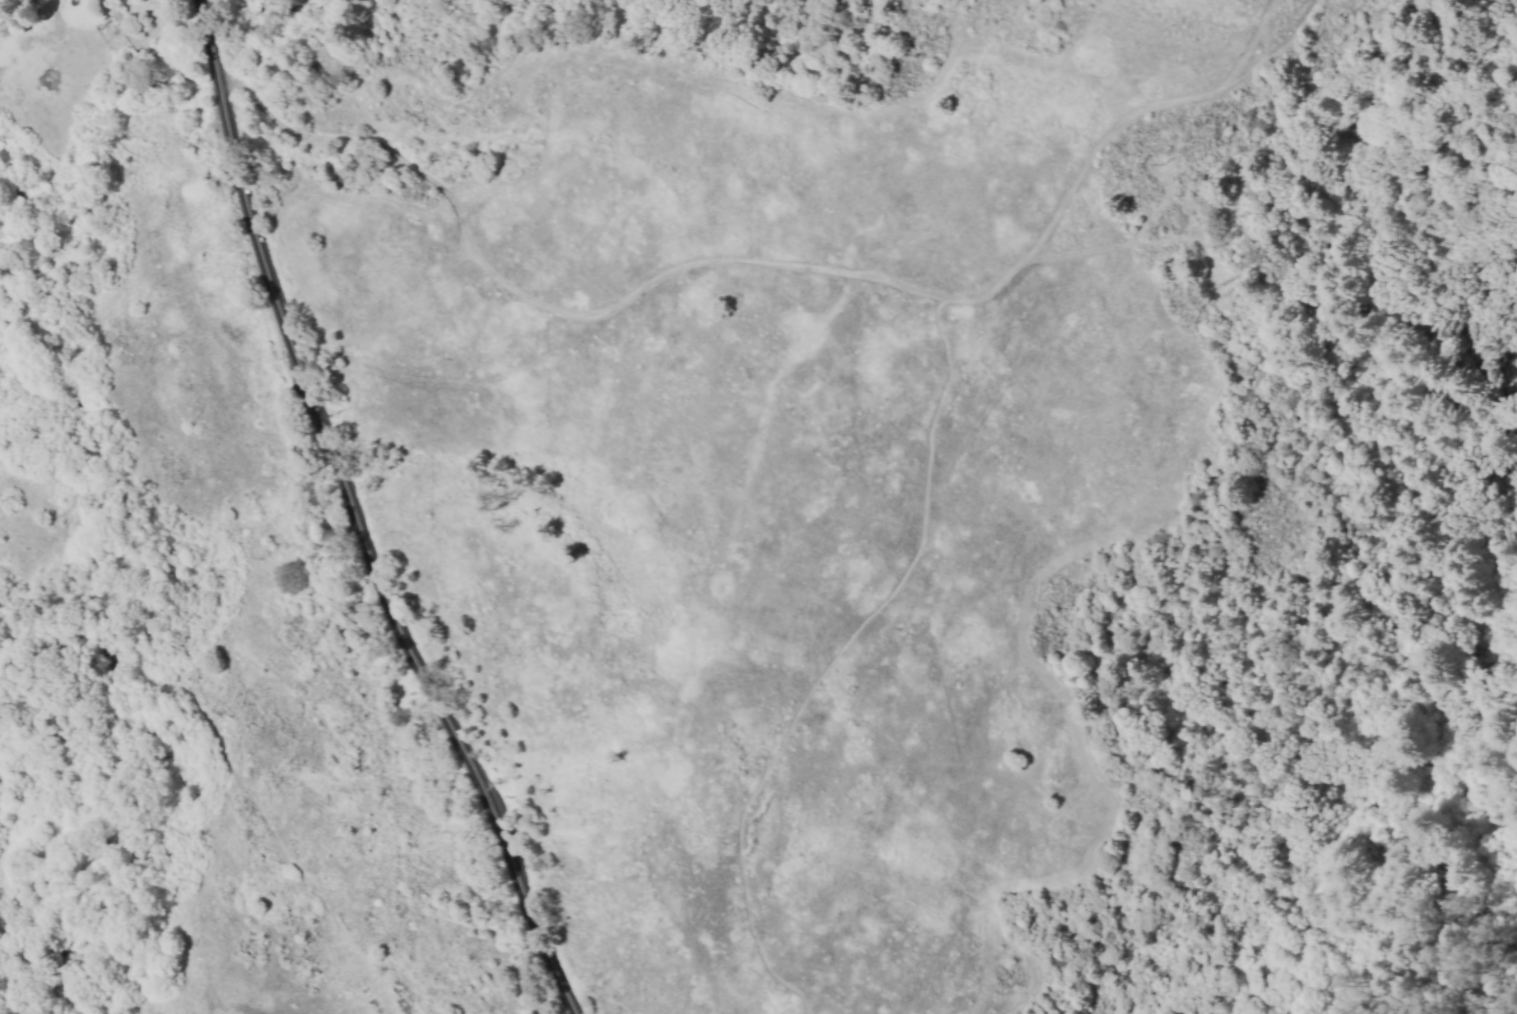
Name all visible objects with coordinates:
road: (1111, 138)
road: (239, 166)
road: (550, 305)
road: (829, 665)
road: (421, 677)
road: (218, 754)
road: (1013, 991)

